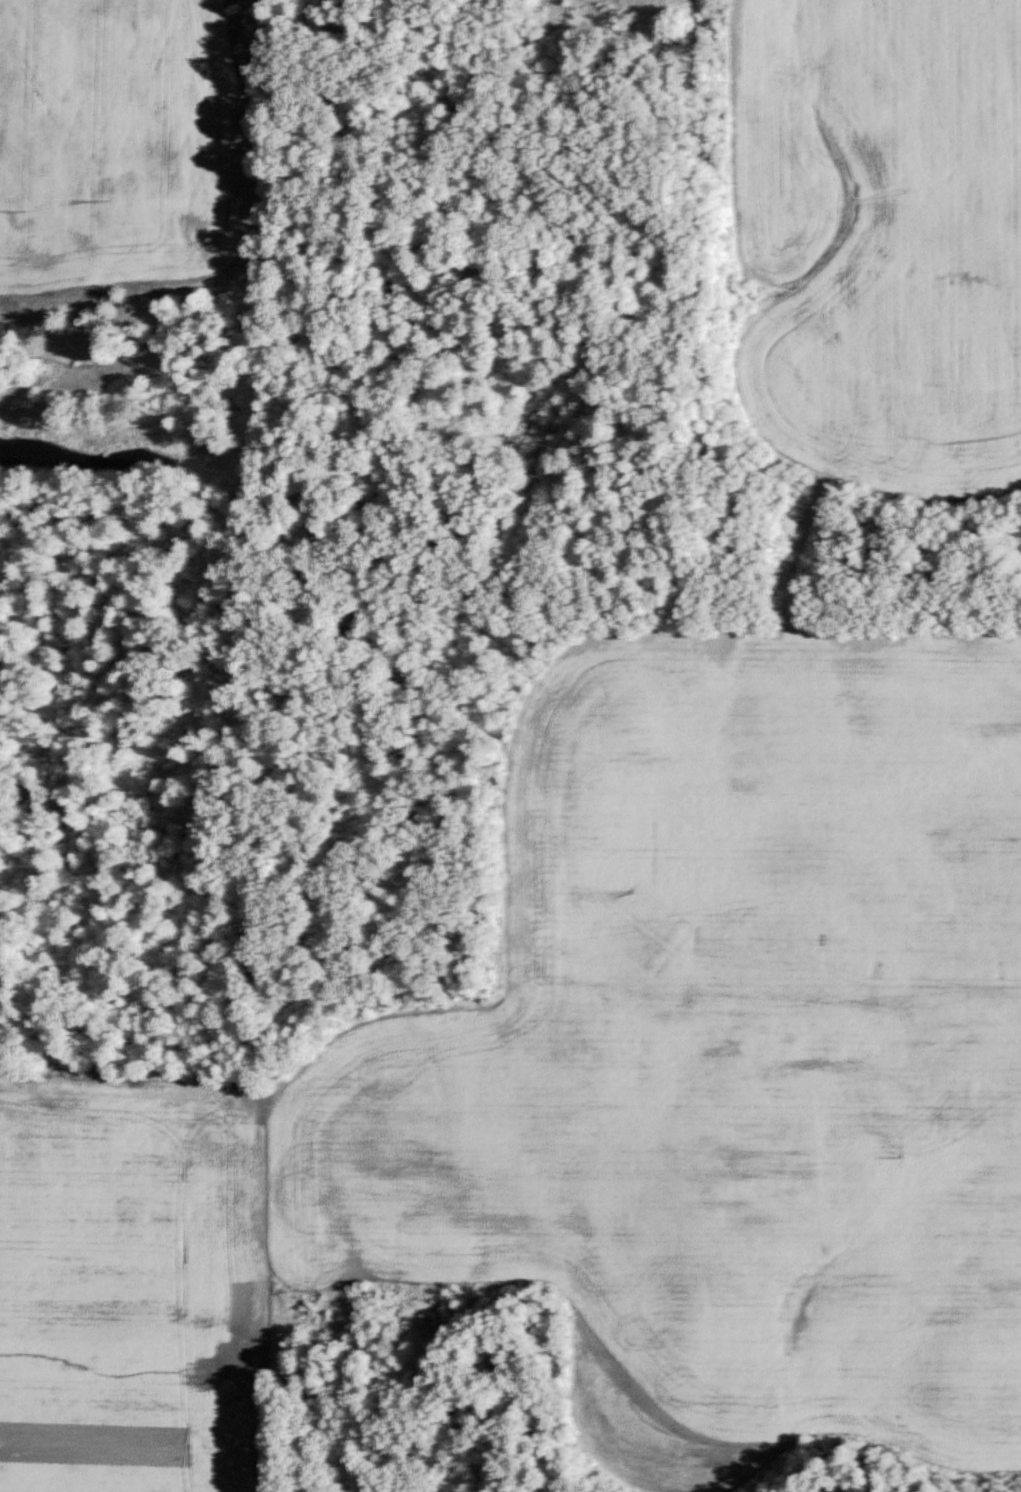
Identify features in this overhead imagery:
crop: (878, 240)
park: (123, 293)

